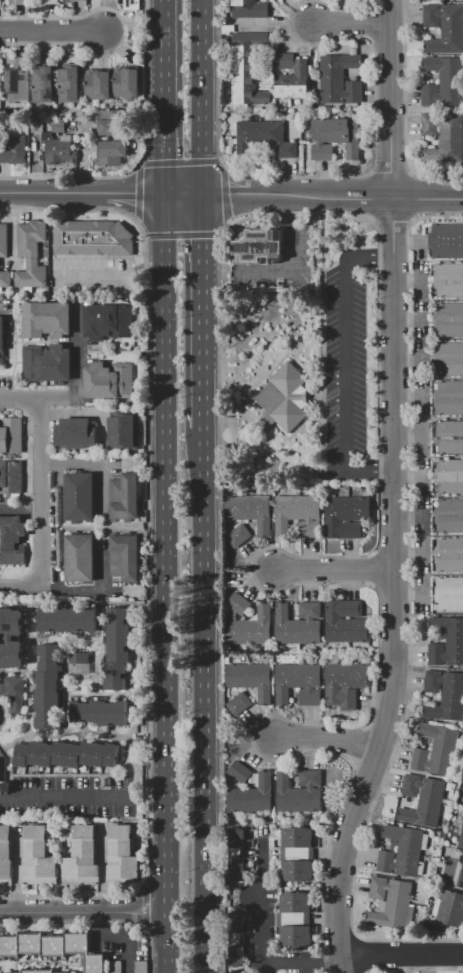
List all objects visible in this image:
building: (79, 0)
building: (22, 2)
building: (51, 2)
building: (131, 4)
building: (249, 9)
road: (352, 22)
building: (444, 27)
road: (51, 29)
building: (245, 73)
building: (301, 74)
building: (0, 78)
building: (17, 79)
building: (339, 79)
building: (442, 82)
building: (126, 83)
building: (42, 84)
building: (68, 84)
building: (97, 85)
road: (162, 97)
road: (202, 97)
road: (389, 97)
road: (177, 101)
building: (110, 122)
building: (445, 134)
building: (266, 136)
building: (333, 138)
building: (57, 144)
building: (15, 151)
building: (110, 152)
traffic signals: (162, 161)
road: (184, 194)
road: (227, 194)
road: (52, 195)
traffic signals: (134, 195)
road: (135, 195)
traffic signals: (228, 195)
road: (358, 195)
building: (91, 238)
building: (3, 240)
traffic signals: (202, 241)
building: (447, 241)
building: (257, 247)
building: (31, 254)
road: (294, 260)
road: (144, 267)
road: (87, 276)
building: (5, 279)
building: (448, 279)
road: (144, 290)
road: (3, 309)
road: (202, 311)
building: (449, 319)
building: (46, 320)
building: (107, 321)
road: (185, 322)
building: (1, 341)
road: (76, 355)
building: (449, 358)
parking lot: (355, 362)
building: (46, 363)
road: (344, 367)
building: (108, 380)
road: (33, 398)
building: (284, 398)
building: (449, 398)
building: (123, 430)
building: (74, 433)
building: (10, 435)
building: (449, 437)
building: (448, 471)
building: (11, 477)
road: (32, 493)
road: (103, 496)
building: (77, 497)
building: (124, 497)
road: (21, 508)
building: (249, 511)
building: (297, 515)
building: (345, 516)
building: (449, 516)
road: (43, 520)
building: (237, 535)
building: (12, 540)
building: (448, 555)
building: (79, 557)
building: (123, 558)
road: (336, 570)
road: (167, 584)
road: (22, 586)
road: (397, 588)
building: (449, 594)
building: (239, 604)
building: (66, 619)
building: (346, 621)
road: (134, 622)
building: (298, 624)
building: (250, 627)
road: (29, 637)
building: (10, 638)
road: (65, 638)
building: (447, 642)
building: (117, 647)
road: (101, 648)
building: (77, 657)
road: (148, 663)
road: (12, 672)
building: (251, 679)
building: (299, 682)
building: (344, 685)
building: (47, 687)
building: (14, 694)
road: (64, 694)
road: (97, 694)
building: (444, 695)
road: (205, 700)
building: (238, 702)
building: (99, 711)
road: (26, 731)
road: (77, 733)
road: (330, 740)
building: (435, 749)
road: (3, 750)
building: (66, 754)
building: (239, 772)
road: (68, 775)
building: (298, 791)
building: (251, 796)
road: (65, 798)
building: (422, 800)
building: (460, 839)
building: (400, 851)
building: (121, 853)
building: (232, 854)
building: (296, 854)
building: (5, 855)
building: (81, 857)
building: (37, 858)
road: (103, 868)
road: (15, 870)
building: (460, 878)
road: (265, 902)
building: (390, 903)
building: (450, 908)
road: (84, 913)
building: (295, 919)
road: (96, 921)
building: (237, 939)
building: (53, 948)
road: (401, 954)
road: (304, 963)
building: (114, 967)
building: (140, 967)
building: (38, 971)

